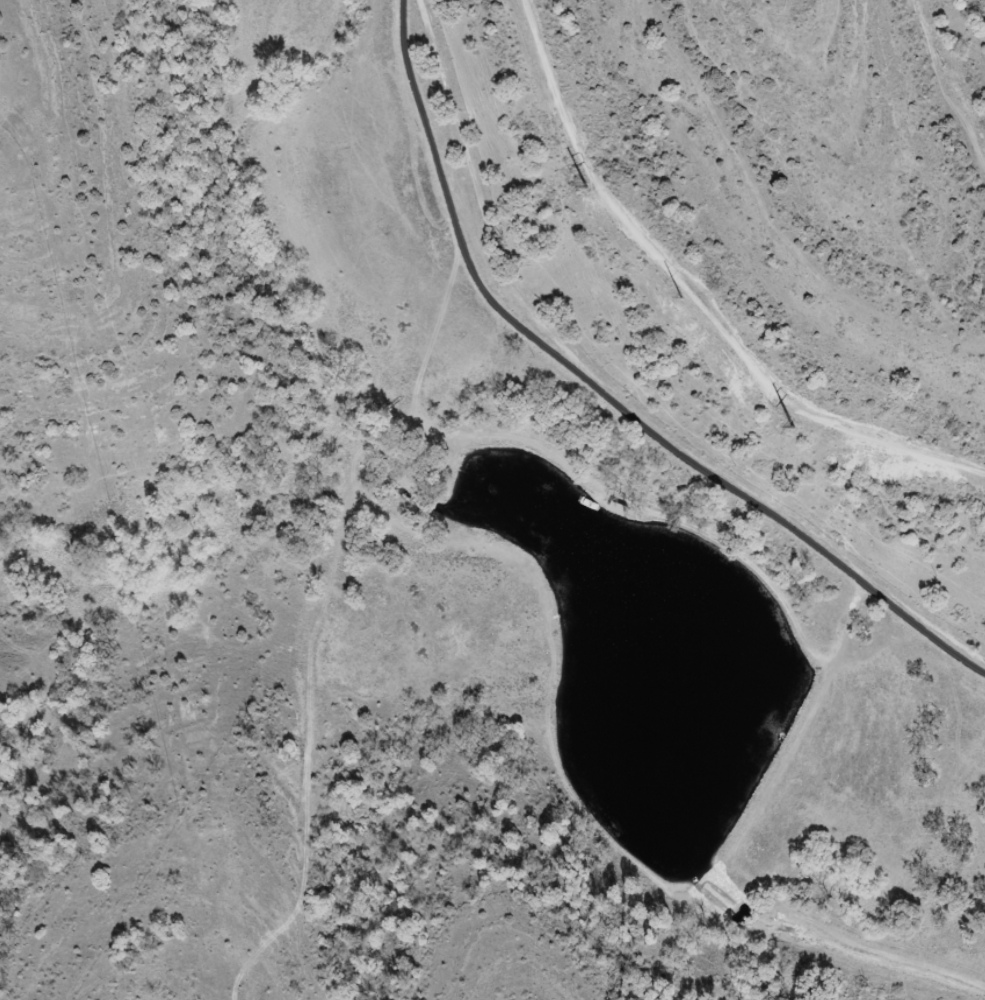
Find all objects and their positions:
power tower: (587, 188)
power tower: (683, 299)
road: (617, 393)
power tower: (794, 428)

